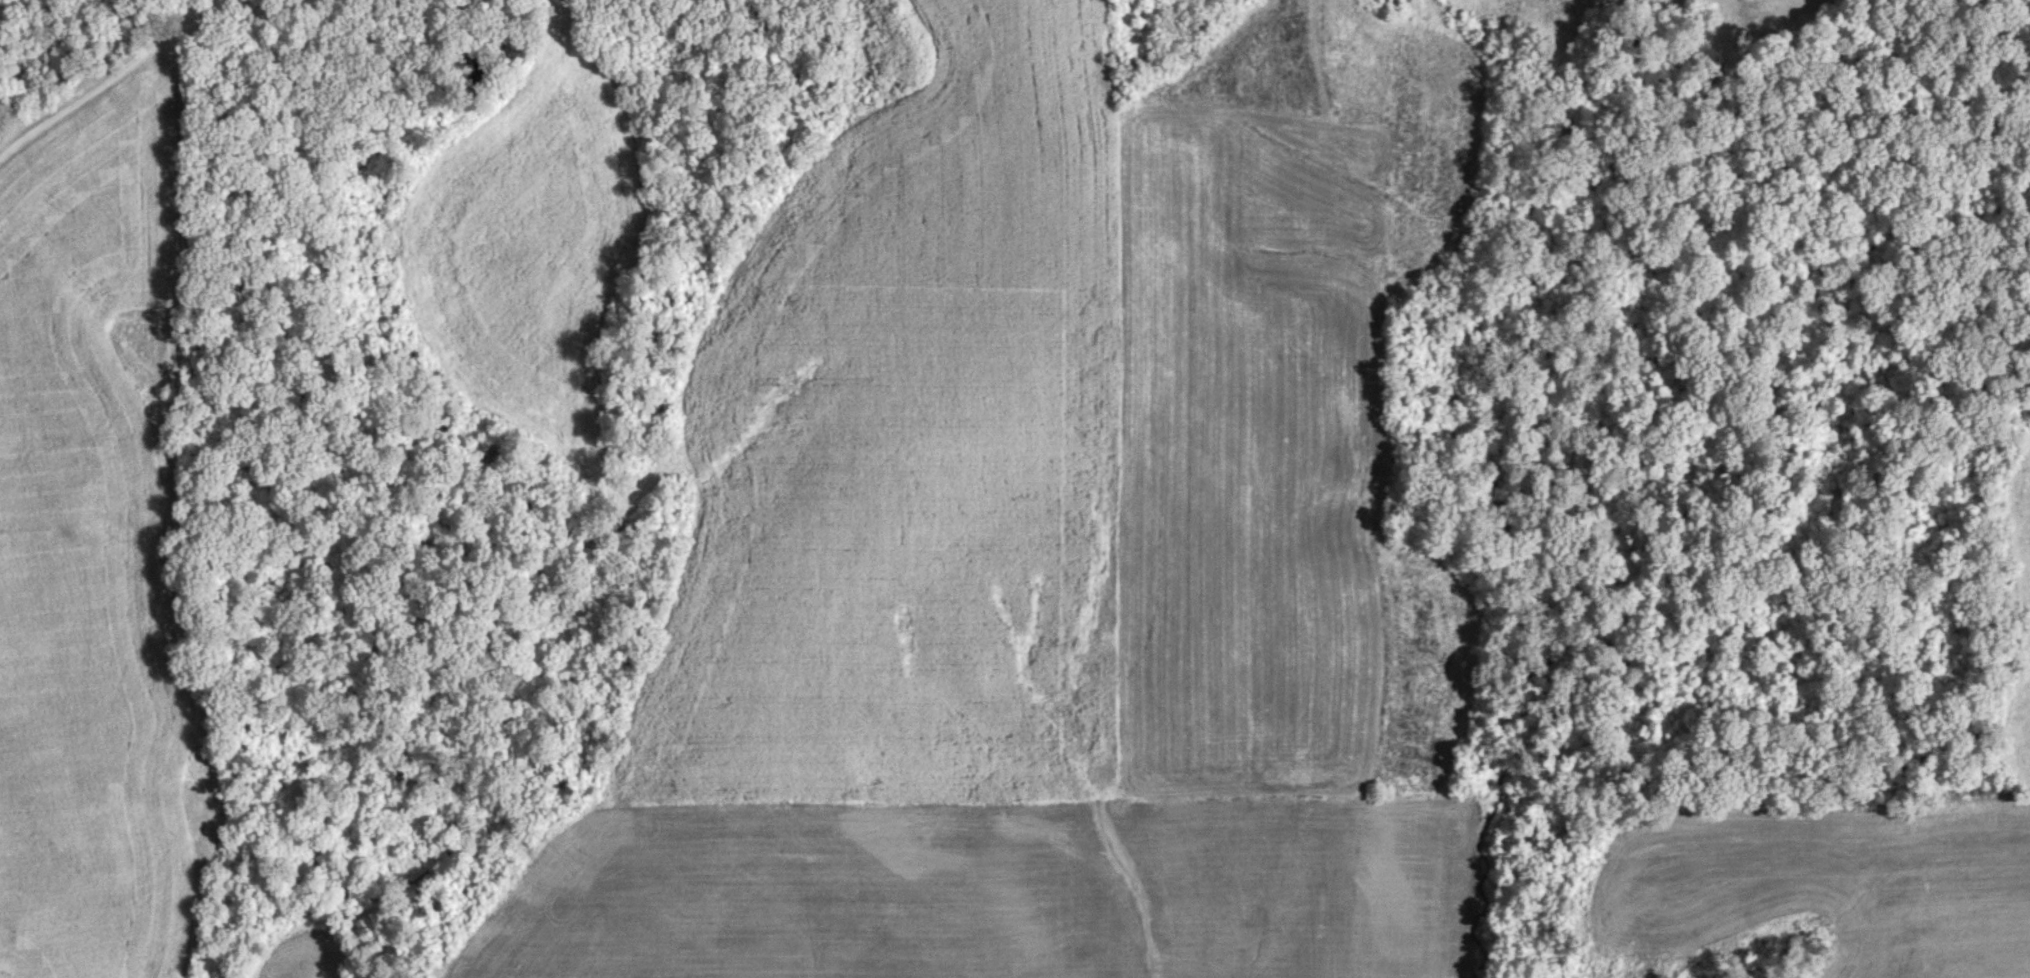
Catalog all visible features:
road: (101, 80)

